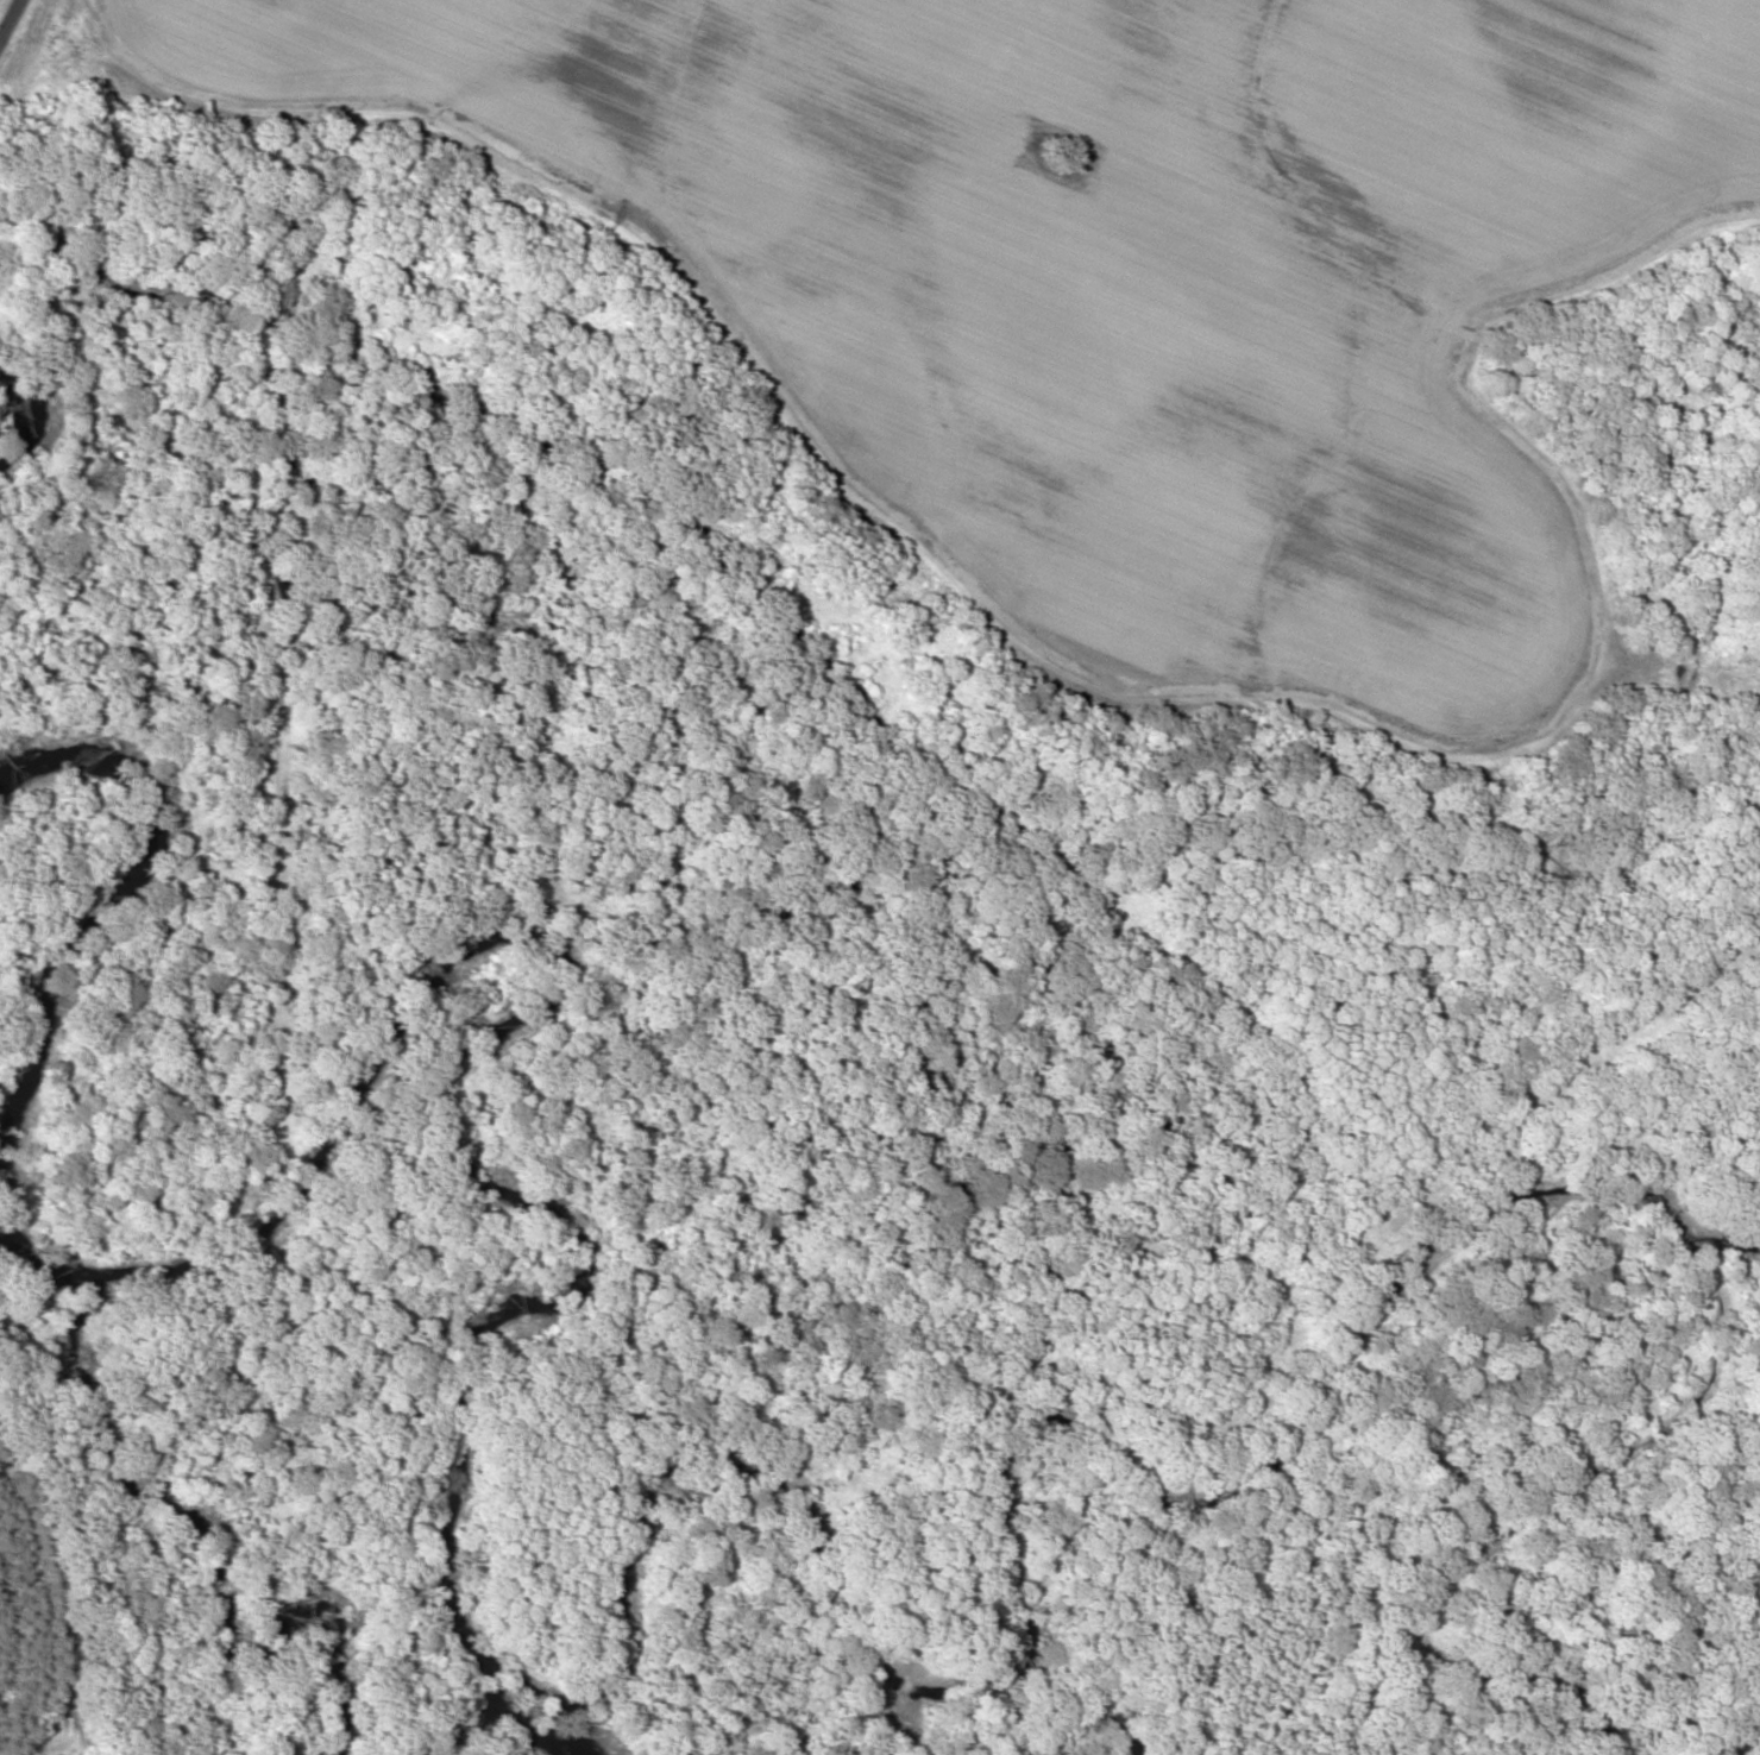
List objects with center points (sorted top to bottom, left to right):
road: (12, 25)

